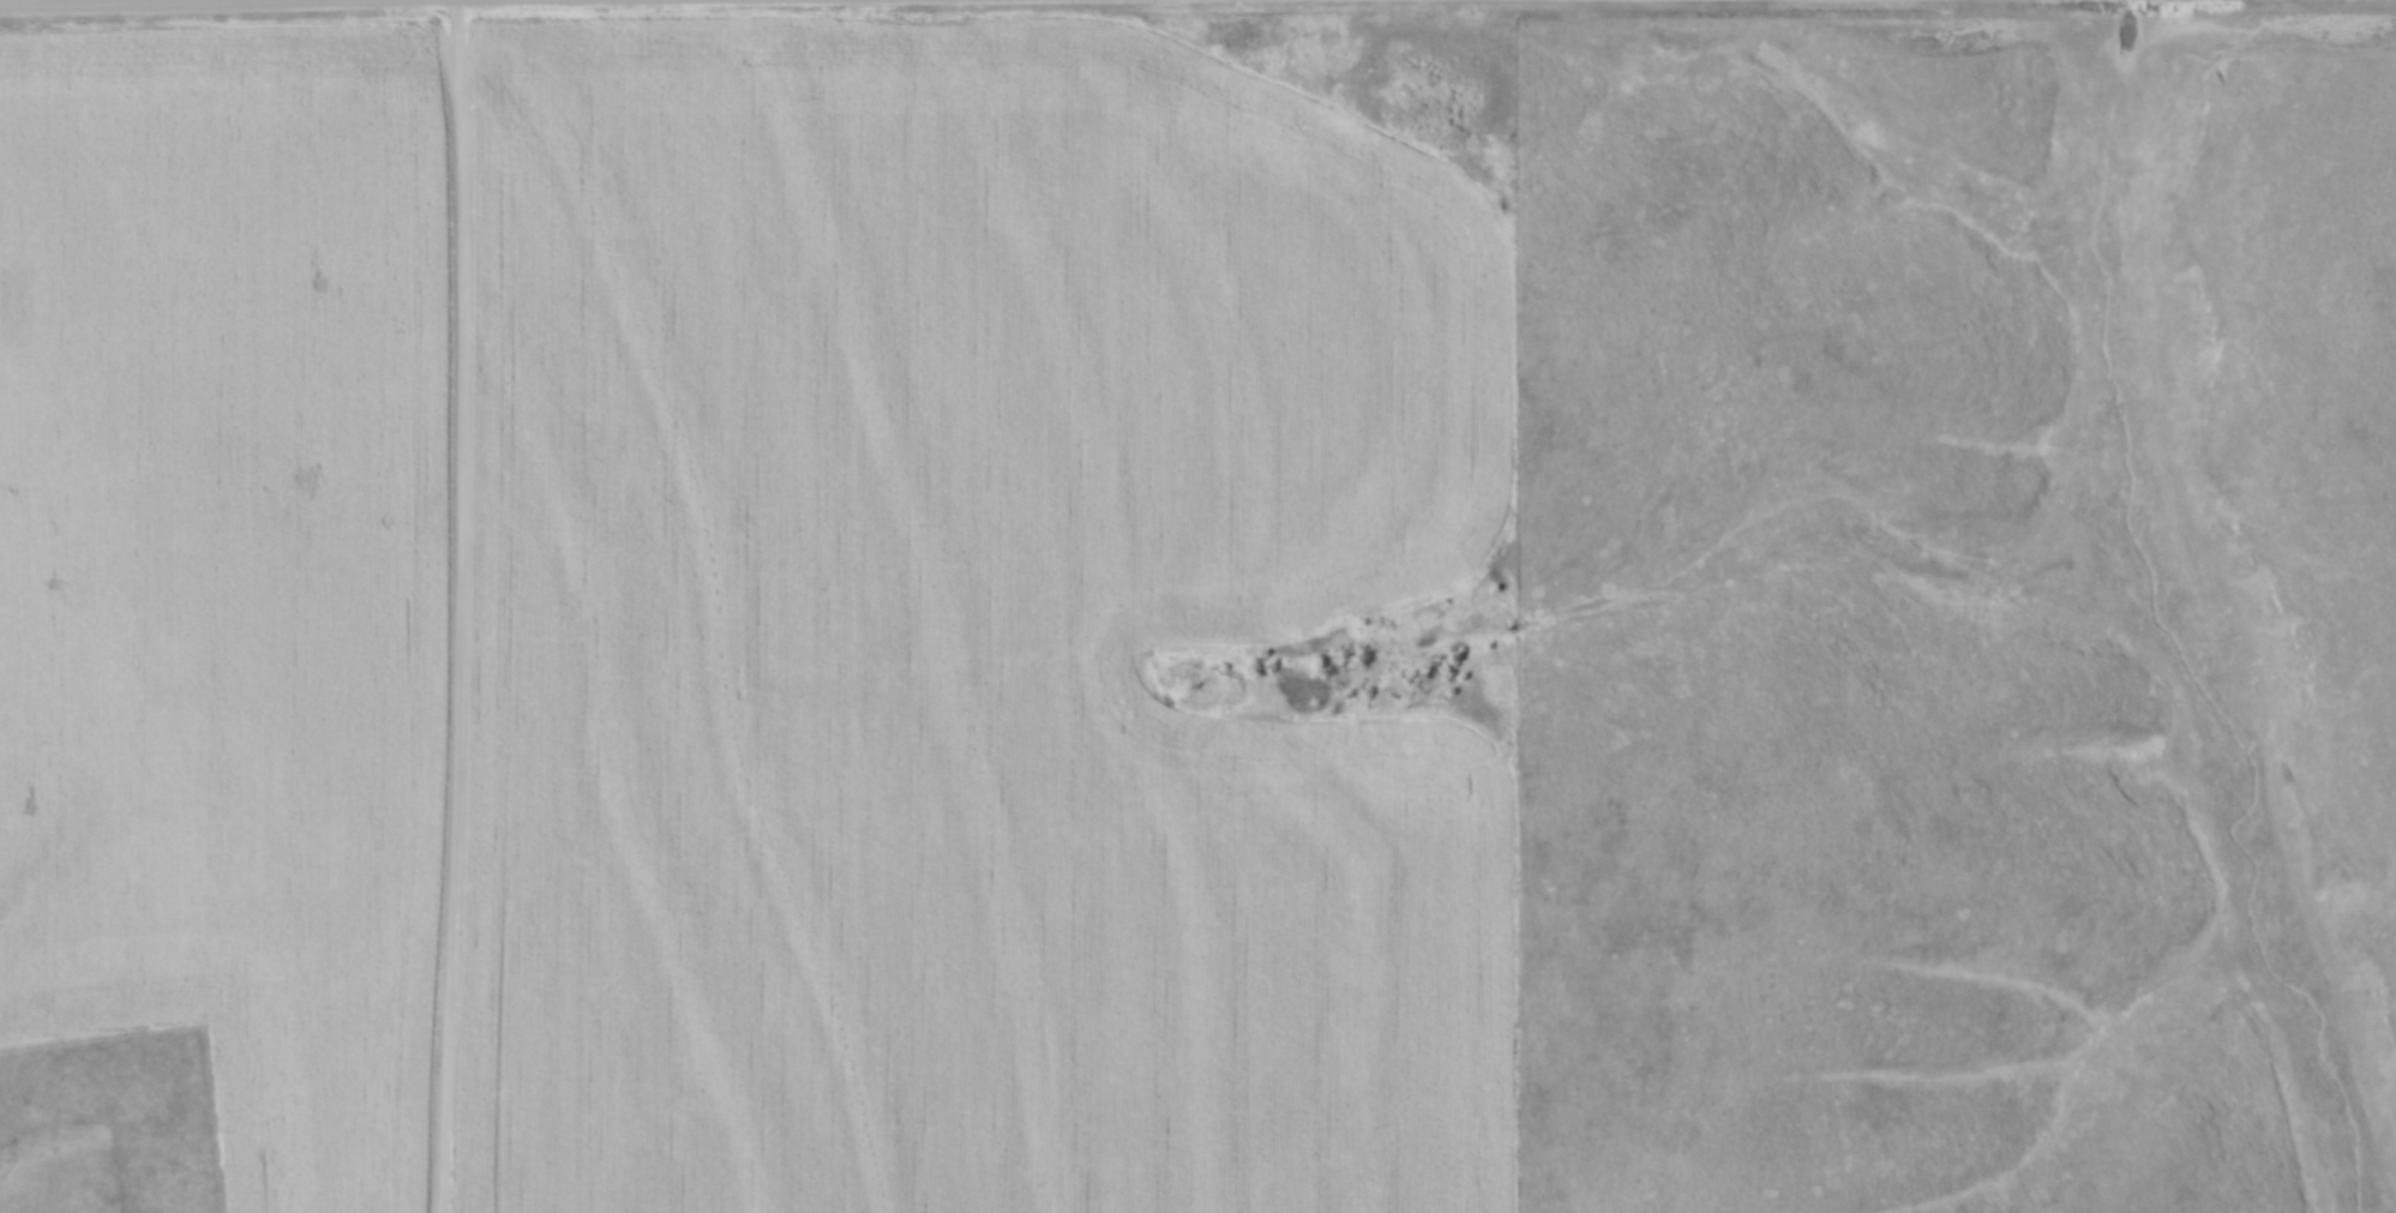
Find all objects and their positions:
road: (74, 0)
crop: (228, 571)
crop: (966, 627)

